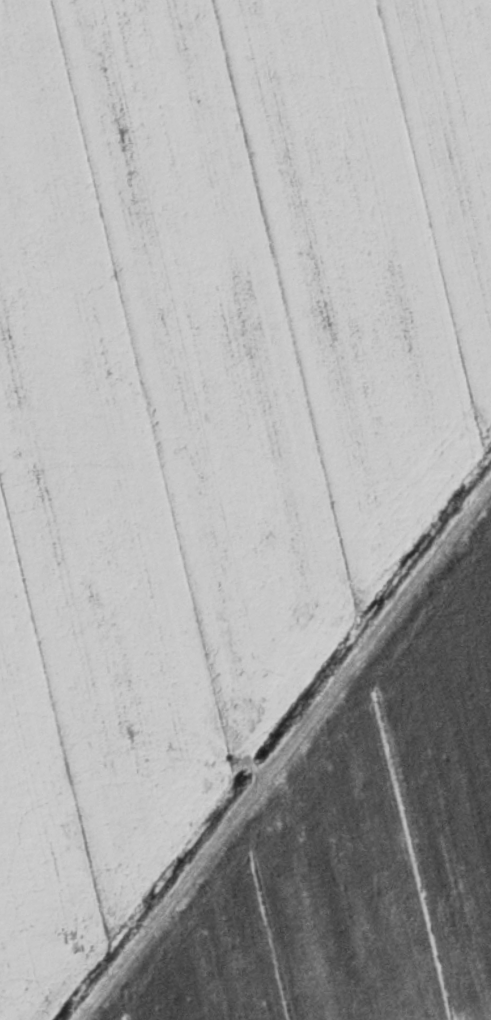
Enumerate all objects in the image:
crop: (211, 398)
road: (285, 750)
crop: (356, 844)

